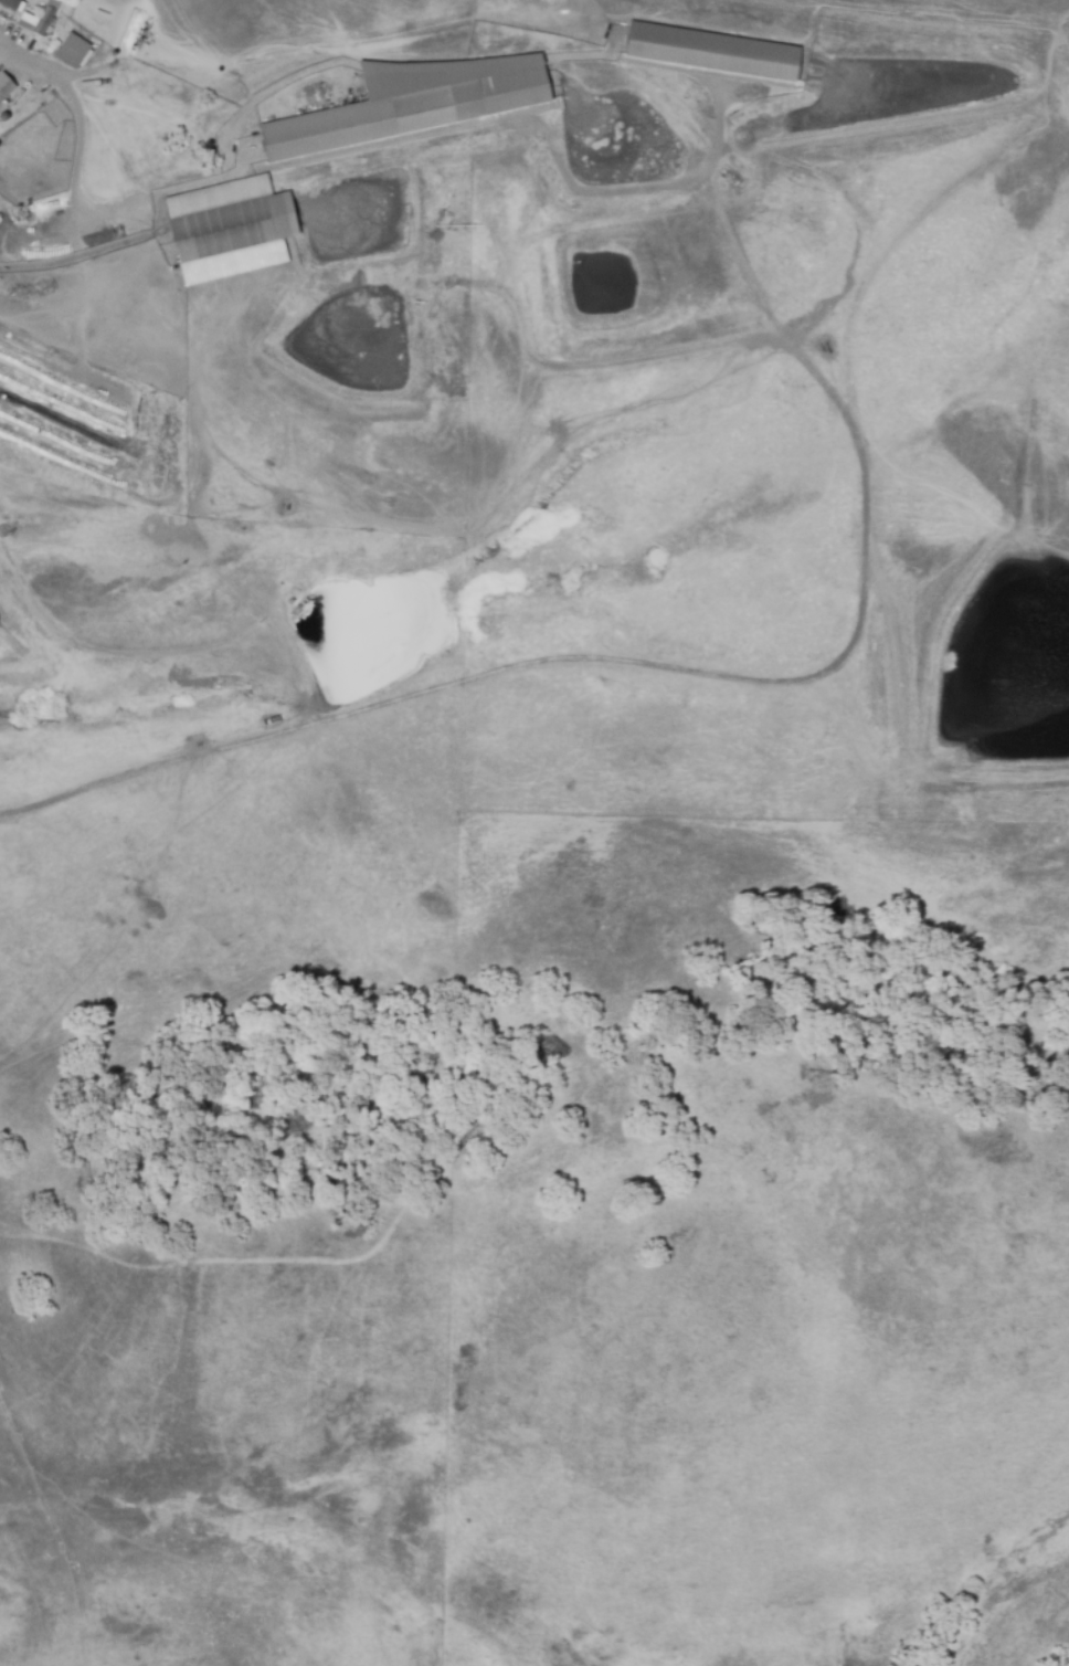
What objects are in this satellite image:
building: (11, 3)
building: (46, 17)
building: (74, 51)
building: (713, 51)
building: (2, 97)
road: (76, 103)
building: (412, 106)
building: (234, 230)
road: (862, 497)

